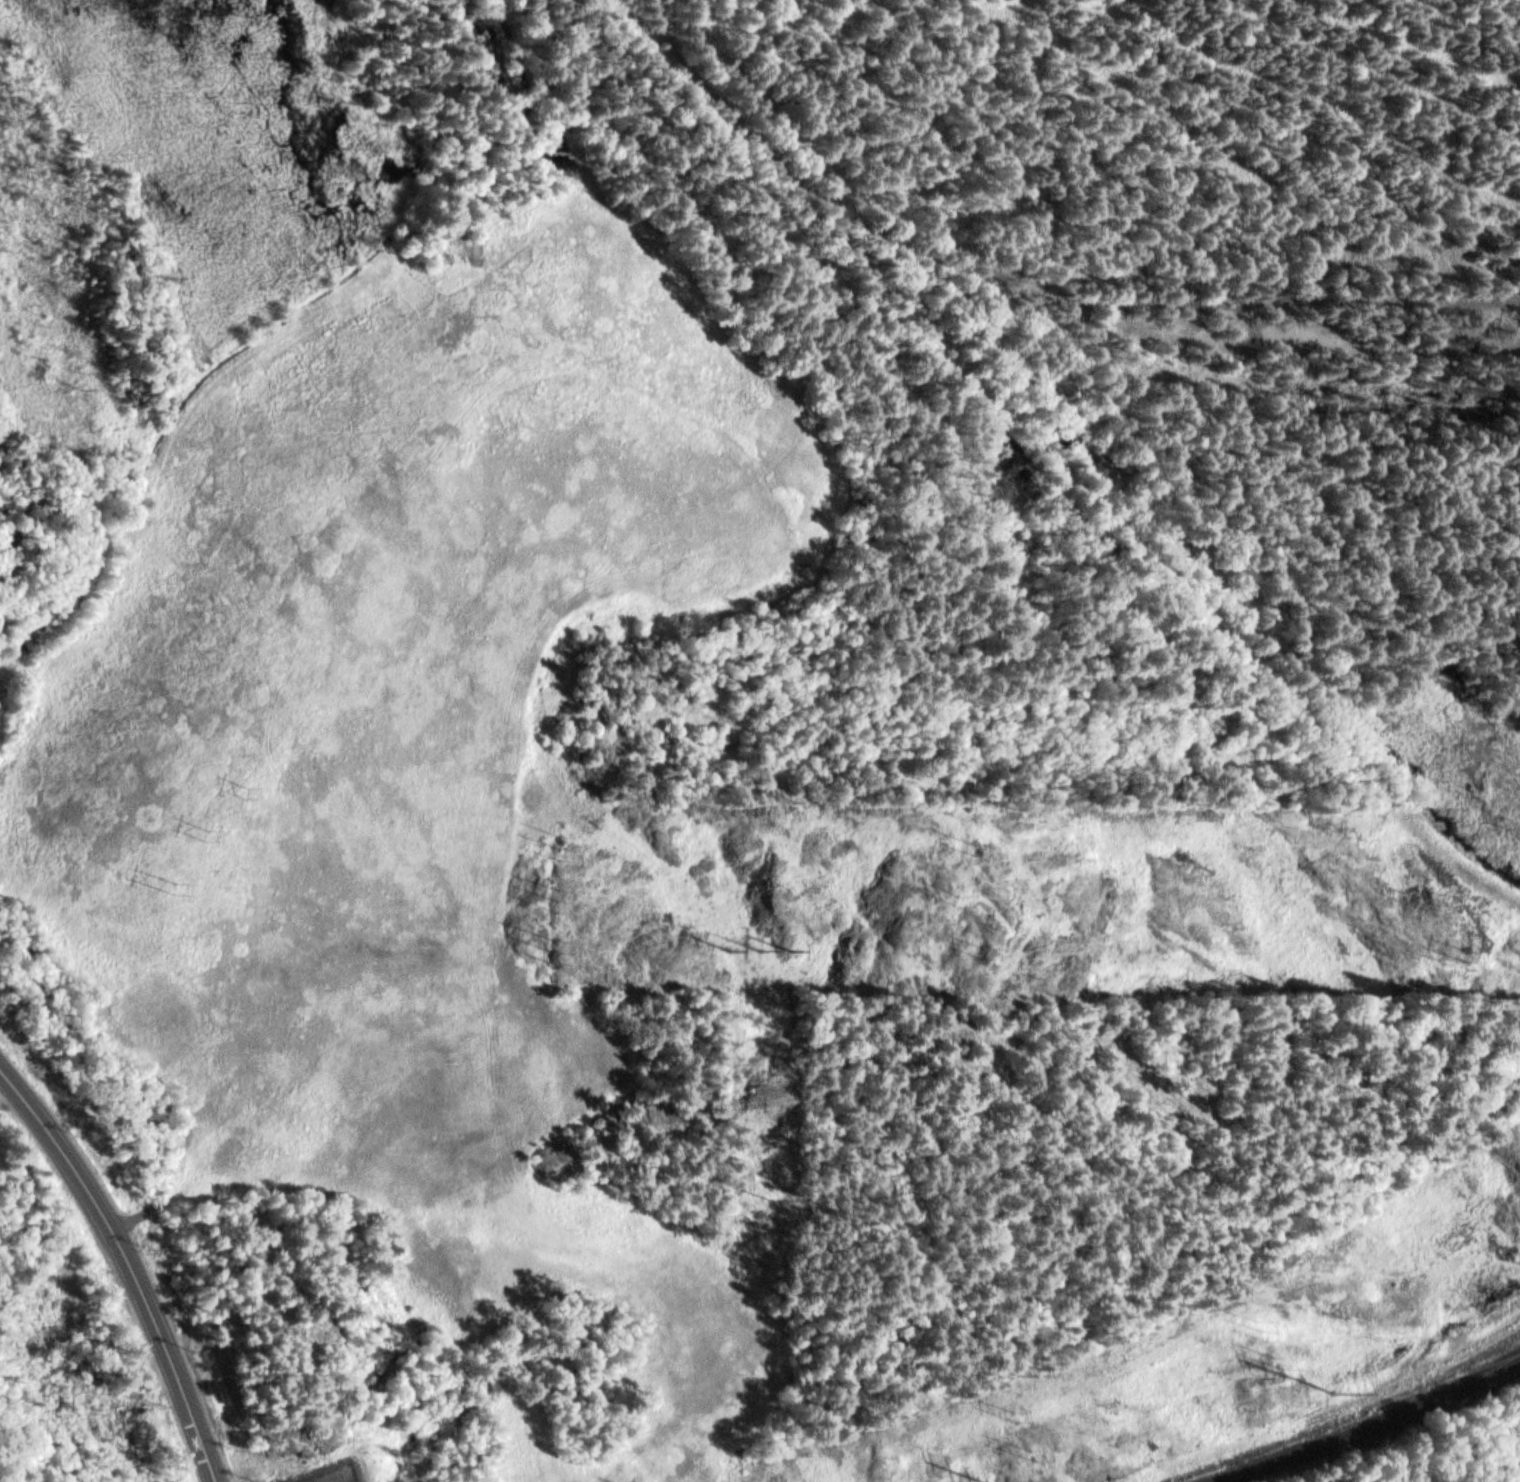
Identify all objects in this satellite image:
power tower: (235, 790)
power tower: (202, 832)
power tower: (566, 843)
power tower: (979, 846)
power tower: (170, 888)
power tower: (559, 896)
power tower: (1427, 897)
power tower: (964, 898)
power tower: (550, 950)
power tower: (986, 951)
power tower: (1462, 955)
road: (131, 1262)
power tower: (1267, 1328)
power tower: (1284, 1364)
power tower: (1336, 1392)
power tower: (1015, 1415)
railway: (1346, 1417)
railway: (1375, 1427)
power tower: (1034, 1452)
power substation: (334, 1474)

